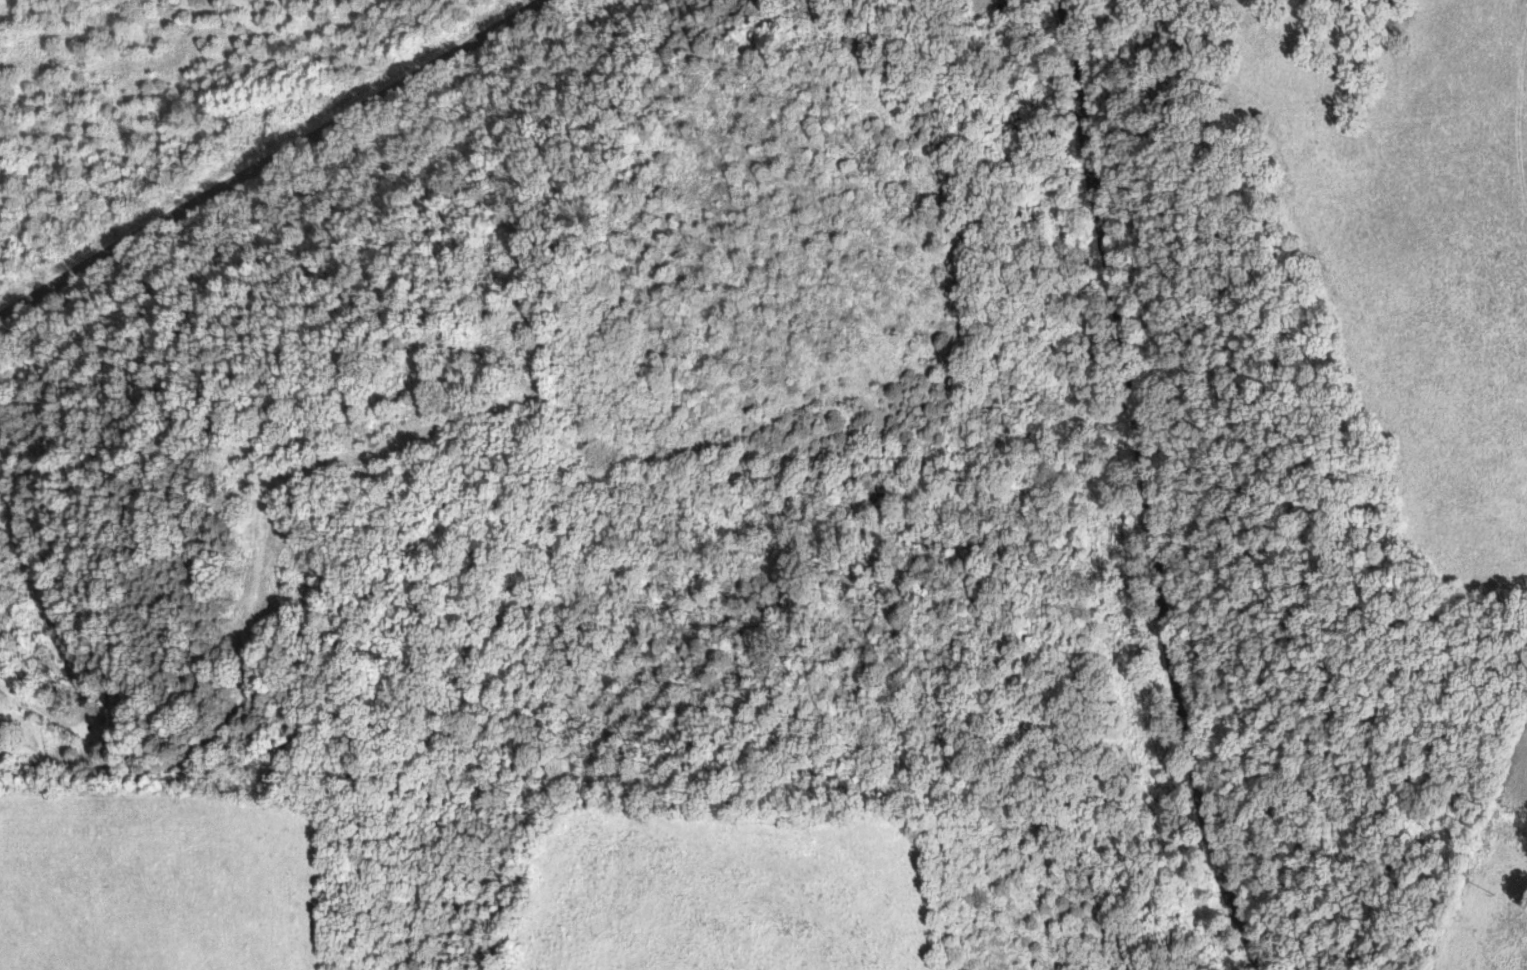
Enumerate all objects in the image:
road: (263, 152)
road: (1154, 489)
road: (54, 617)

